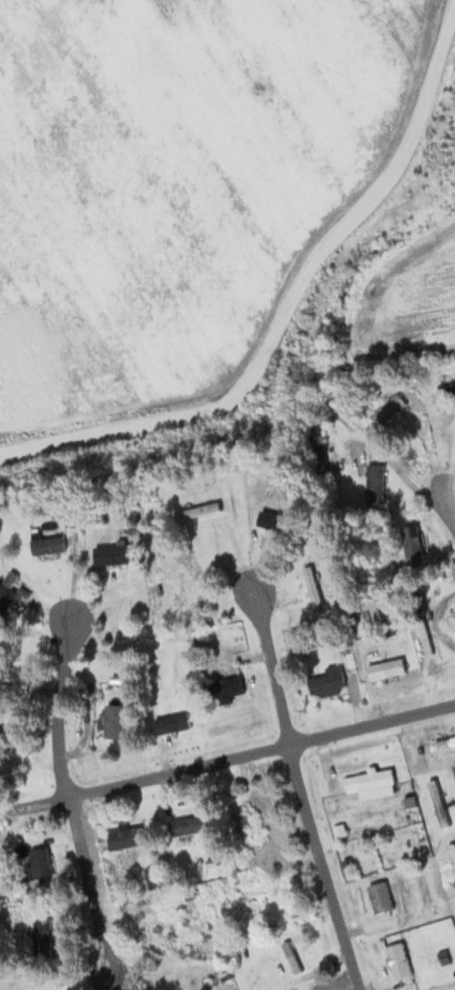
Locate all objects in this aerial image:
building: (445, 389)
building: (387, 409)
building: (374, 485)
road: (452, 503)
building: (199, 509)
building: (271, 520)
building: (47, 544)
building: (411, 546)
building: (111, 553)
building: (179, 585)
building: (311, 585)
building: (6, 586)
building: (385, 667)
building: (326, 683)
building: (226, 685)
building: (110, 721)
building: (171, 722)
building: (445, 741)
road: (232, 756)
building: (370, 781)
road: (302, 789)
road: (61, 802)
building: (247, 818)
building: (189, 822)
building: (414, 824)
building: (125, 836)
building: (39, 860)
building: (152, 876)
building: (379, 895)
building: (158, 923)
building: (41, 935)
building: (398, 960)
building: (206, 985)

